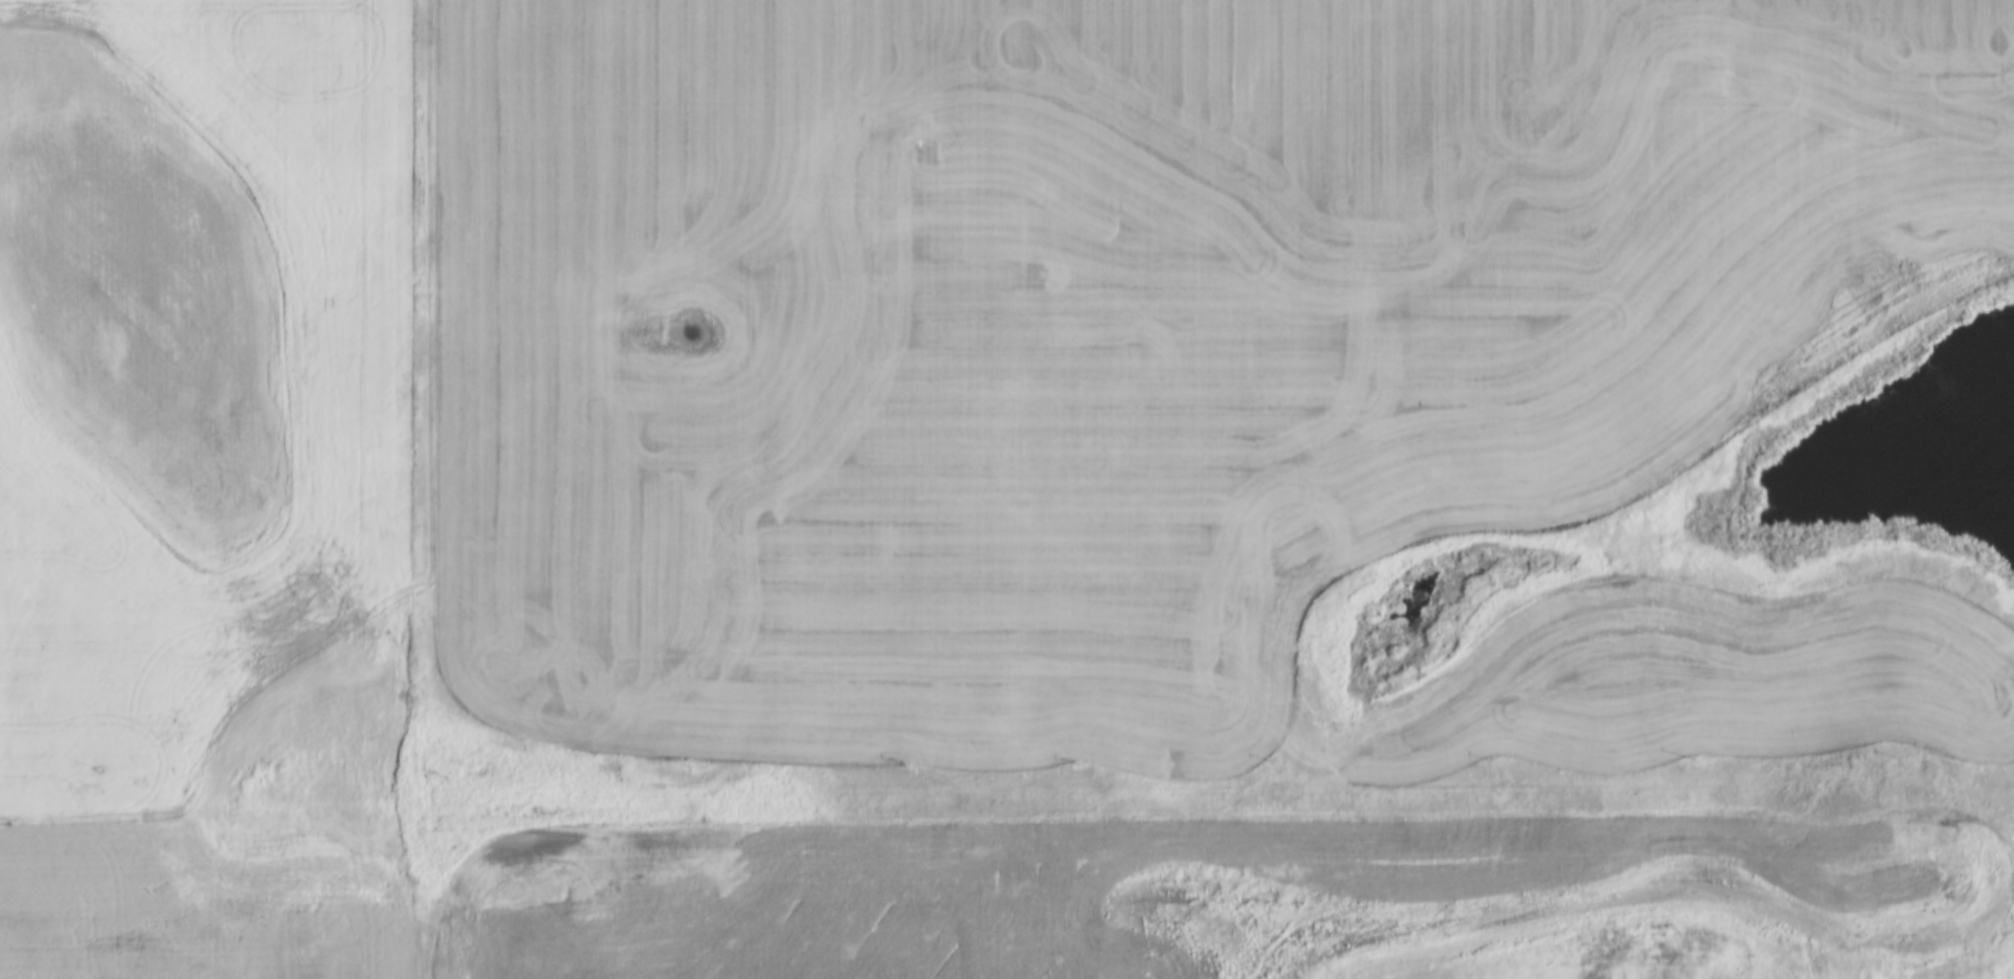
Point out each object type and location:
road: (434, 628)

